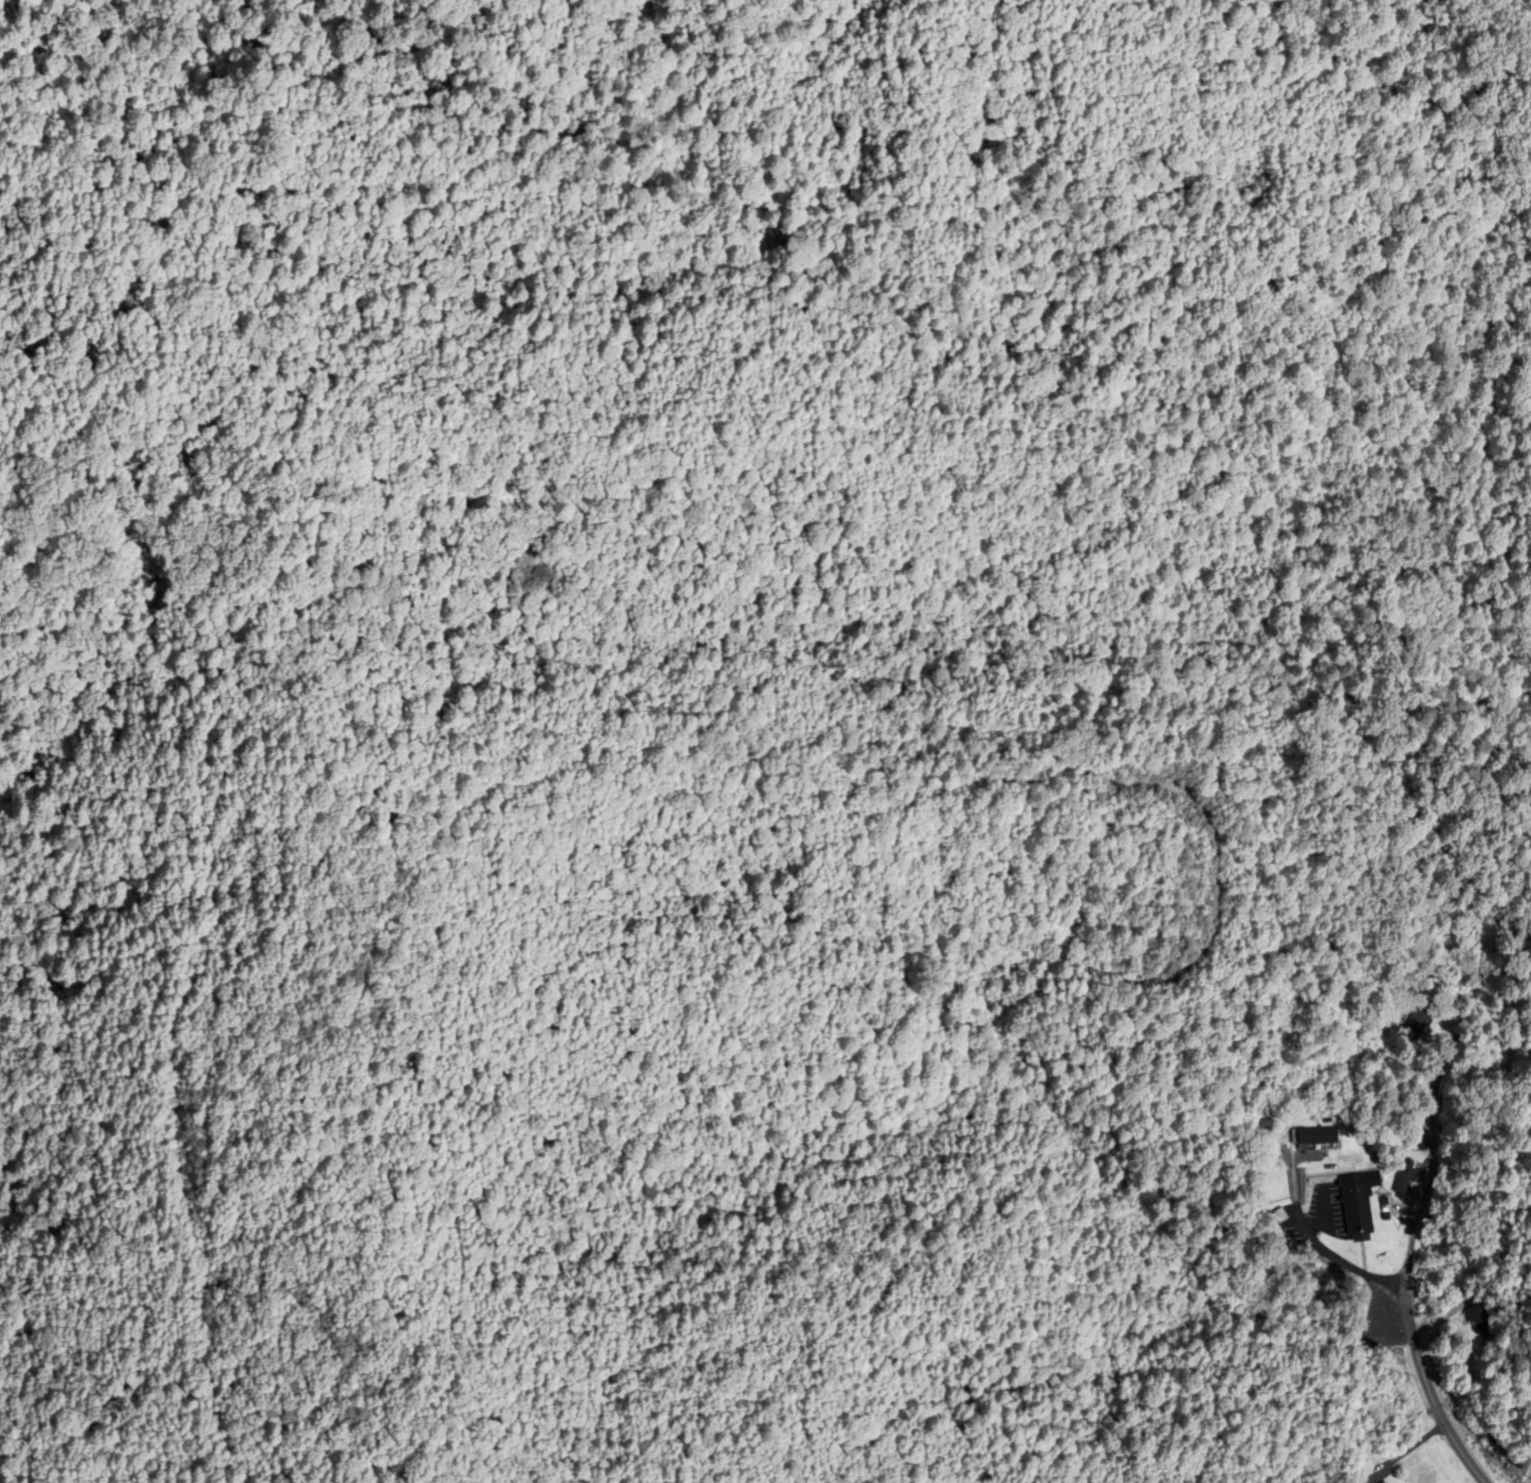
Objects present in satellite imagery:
building: (1420, 1018)
building: (1491, 1041)
building: (1319, 1141)
building: (1359, 1212)
building: (1482, 1321)
road: (1413, 1336)
building: (1387, 1482)

